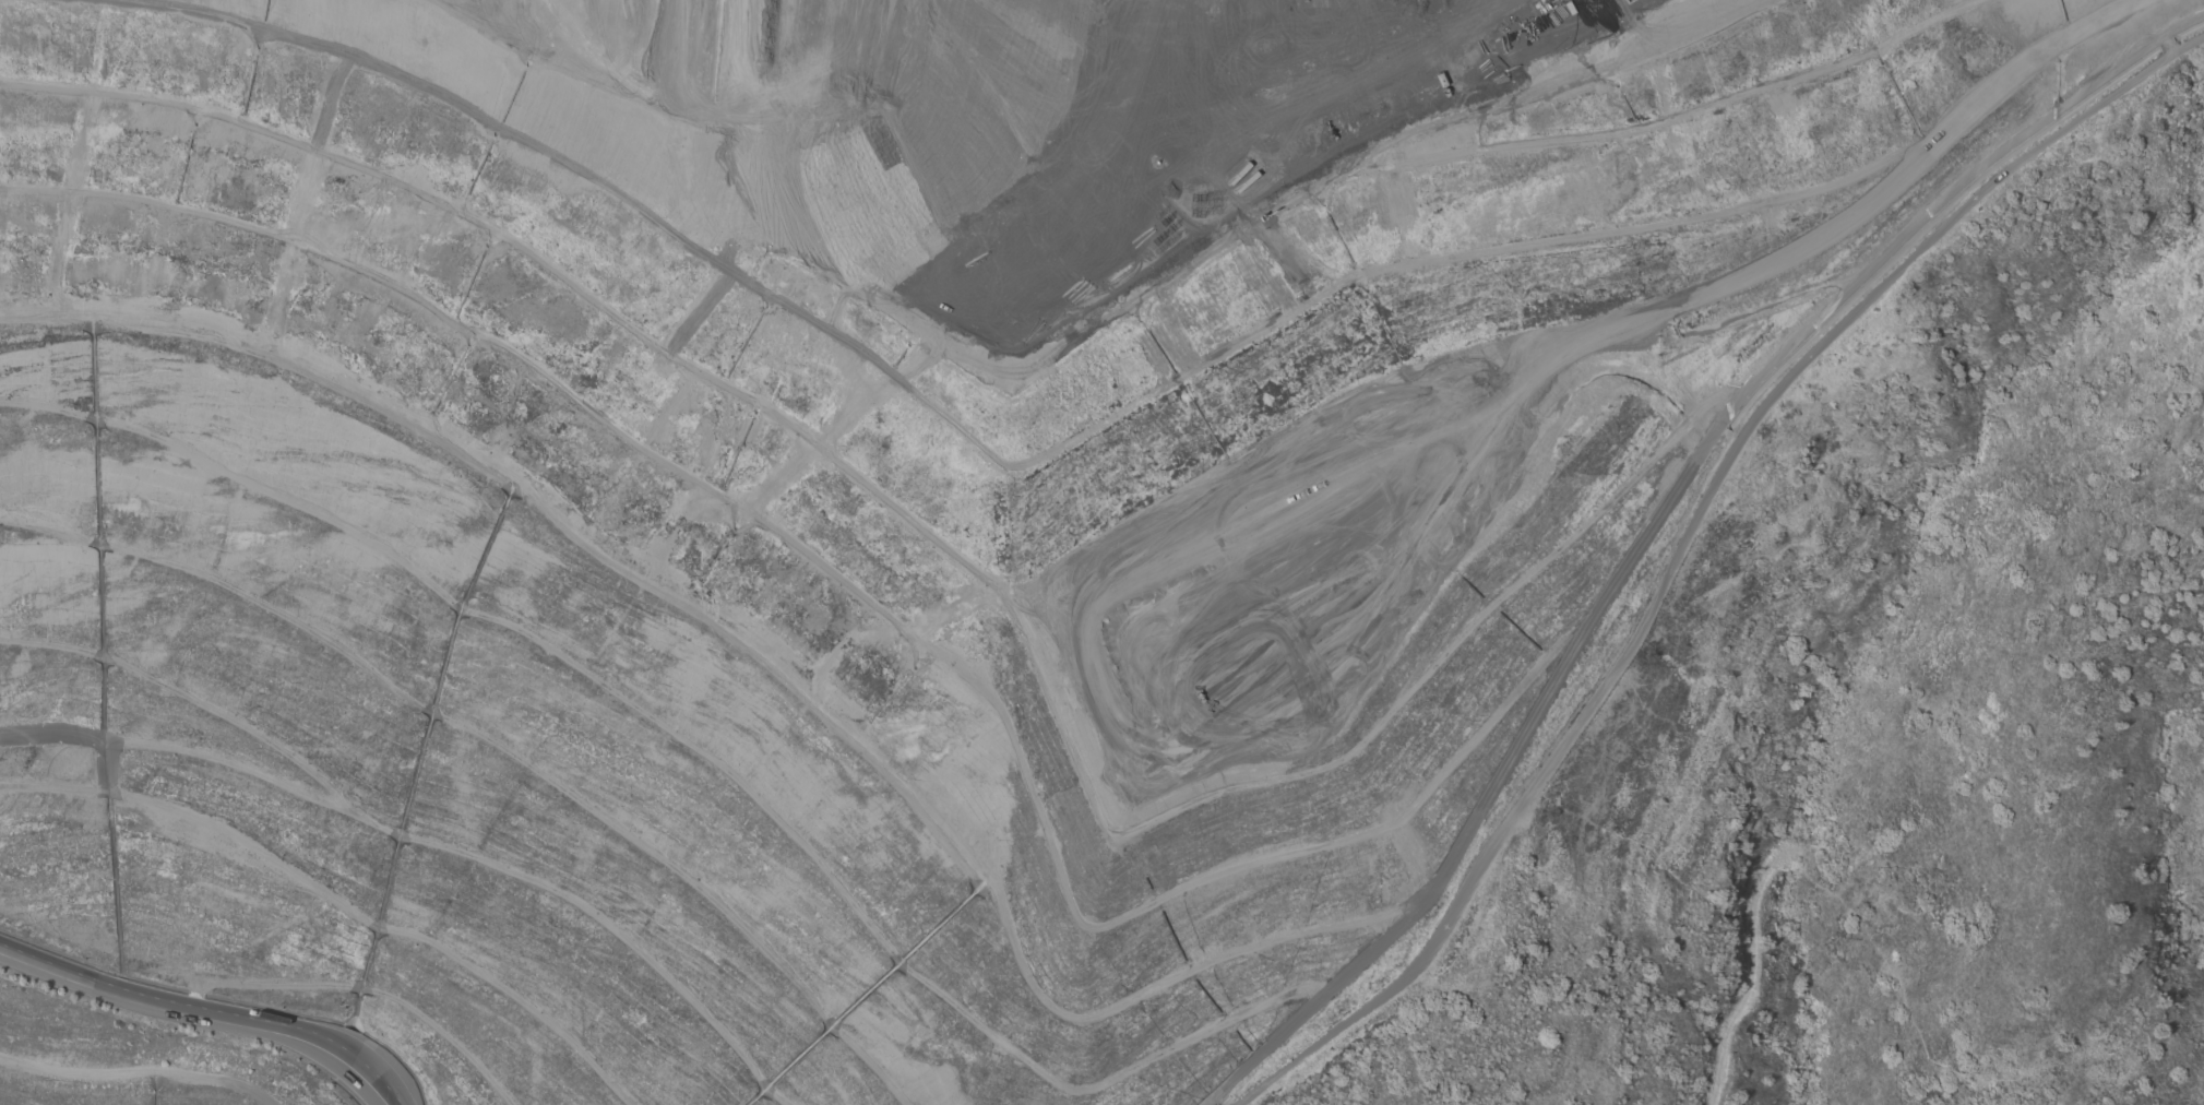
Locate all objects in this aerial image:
road: (2181, 4)
road: (2149, 25)
road: (1473, 121)
road: (1690, 225)
landfill: (867, 504)
landfill: (867, 504)
road: (1684, 537)
road: (1624, 547)
road: (203, 1013)

